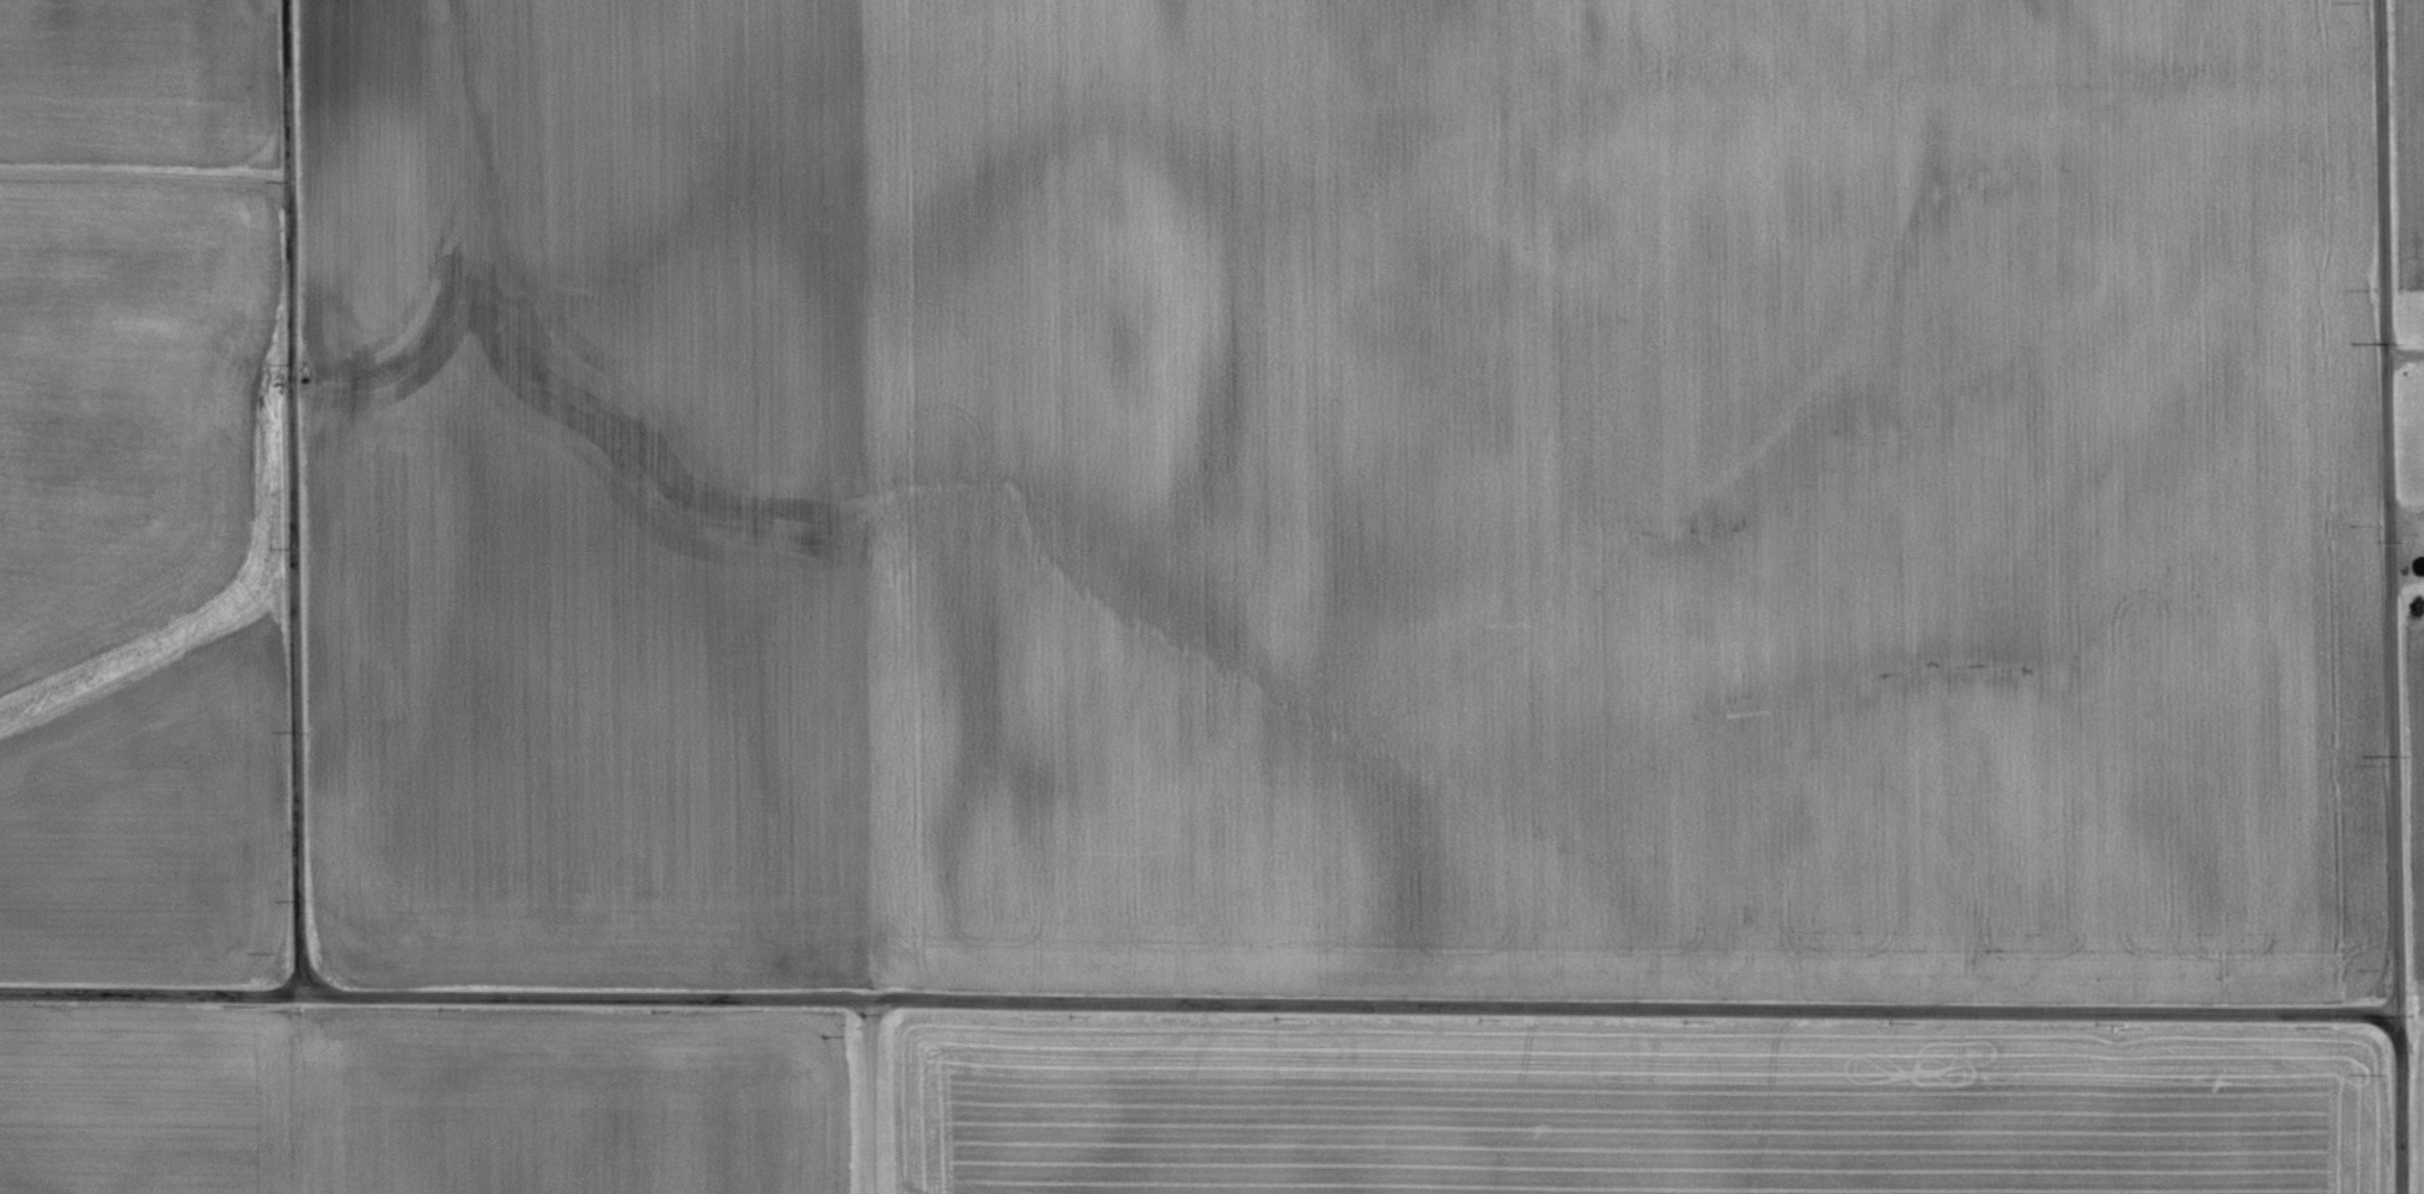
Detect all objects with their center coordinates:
road: (145, 174)
road: (2399, 356)
road: (283, 498)
road: (2379, 596)
road: (1192, 999)
road: (871, 1095)

